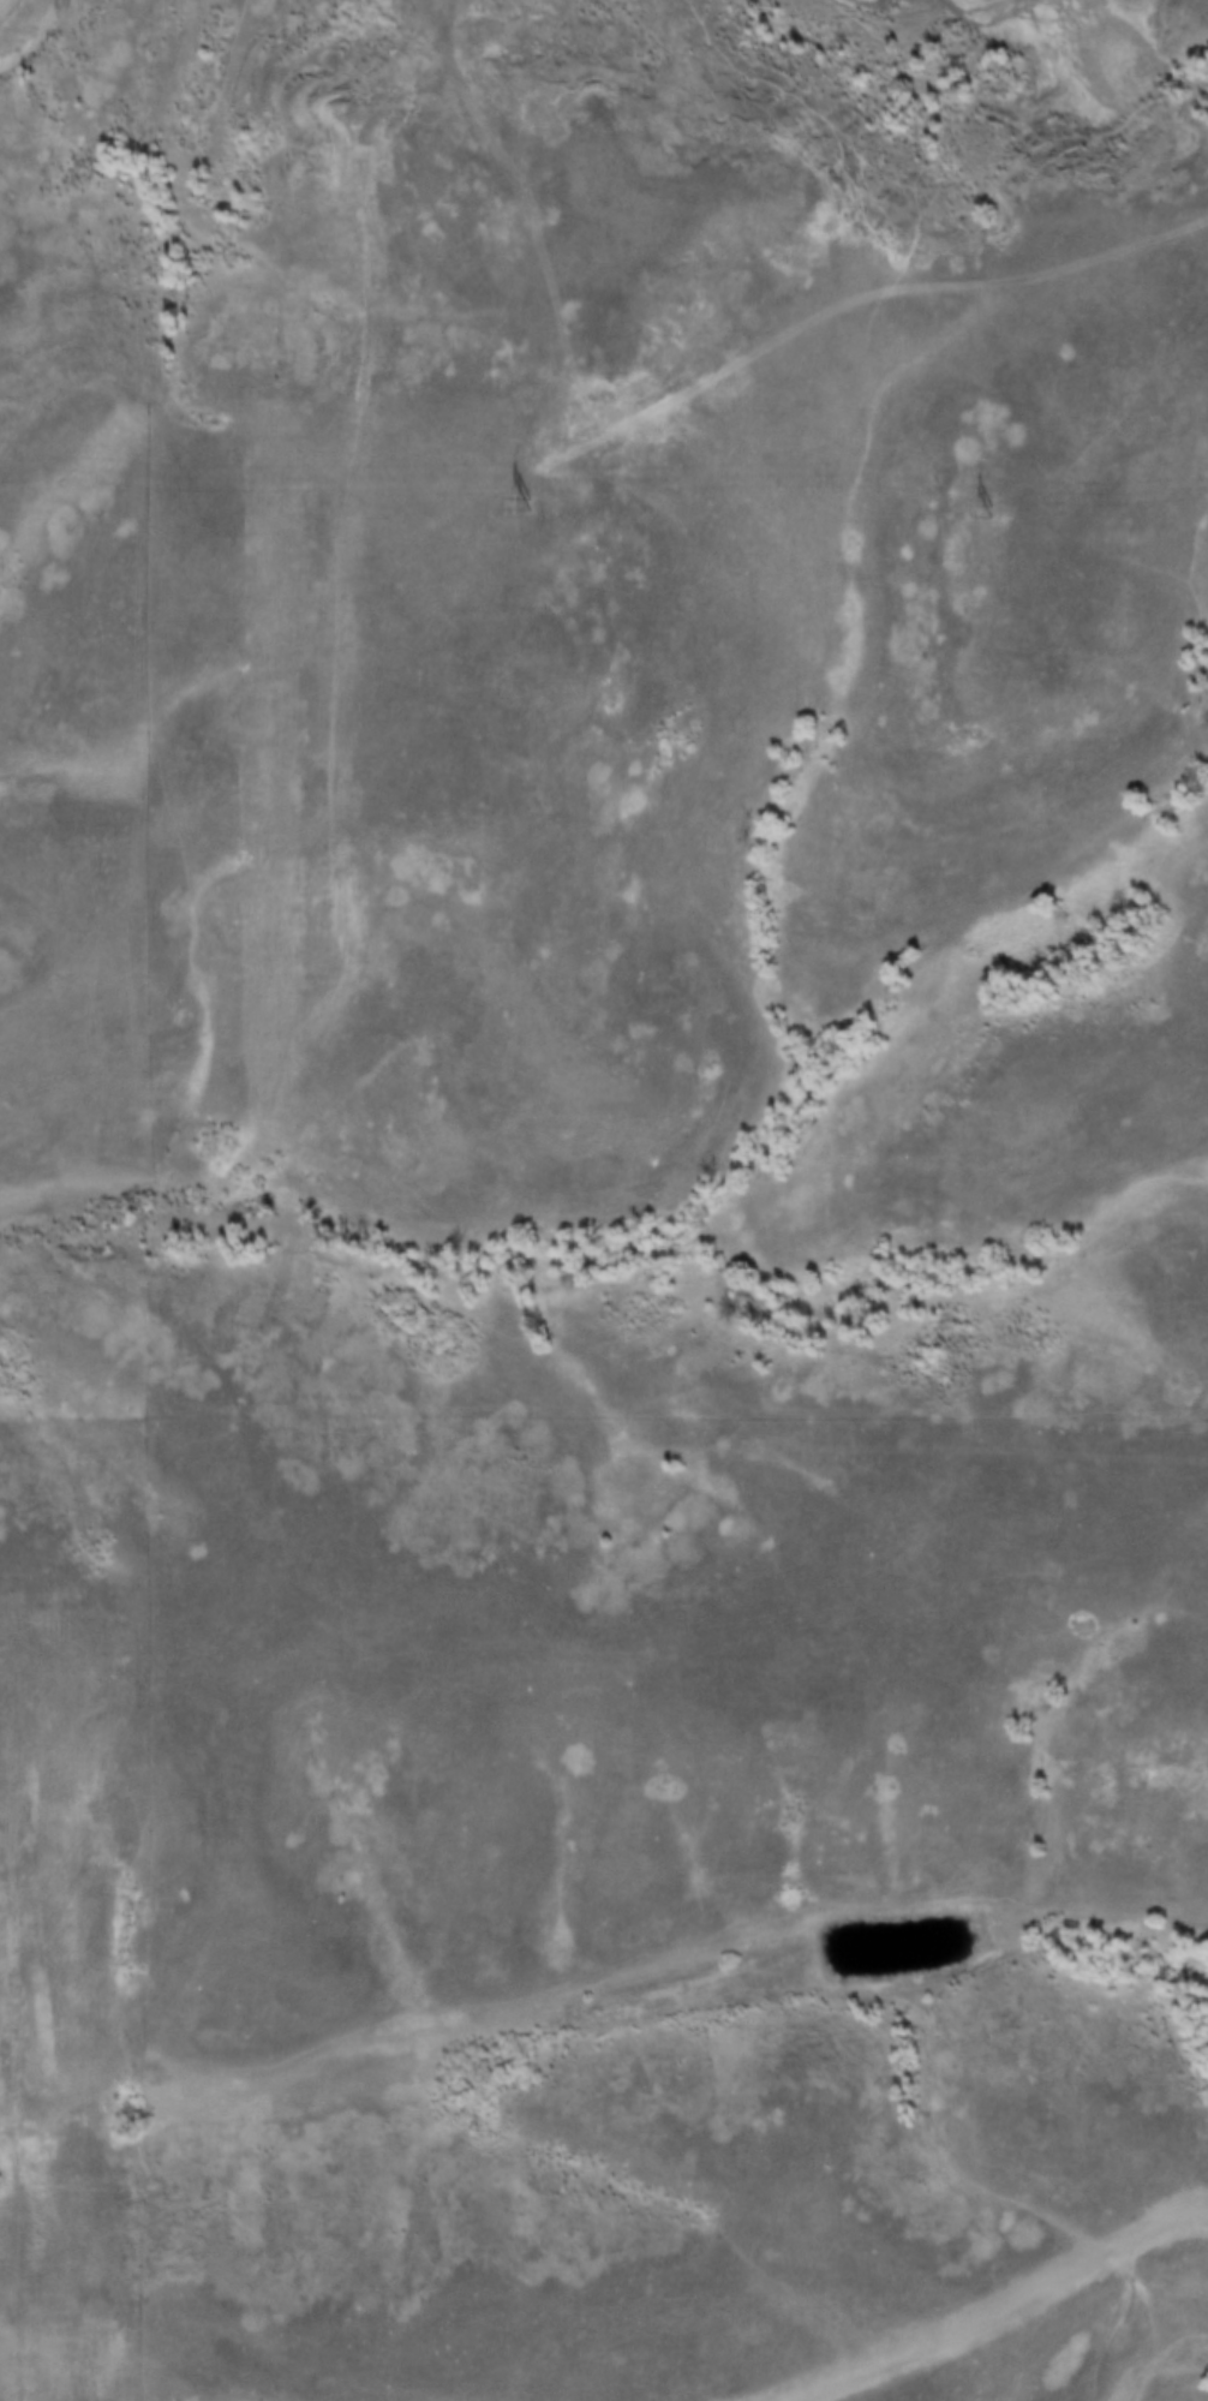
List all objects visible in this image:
power tower: (533, 503)
power tower: (1001, 510)

